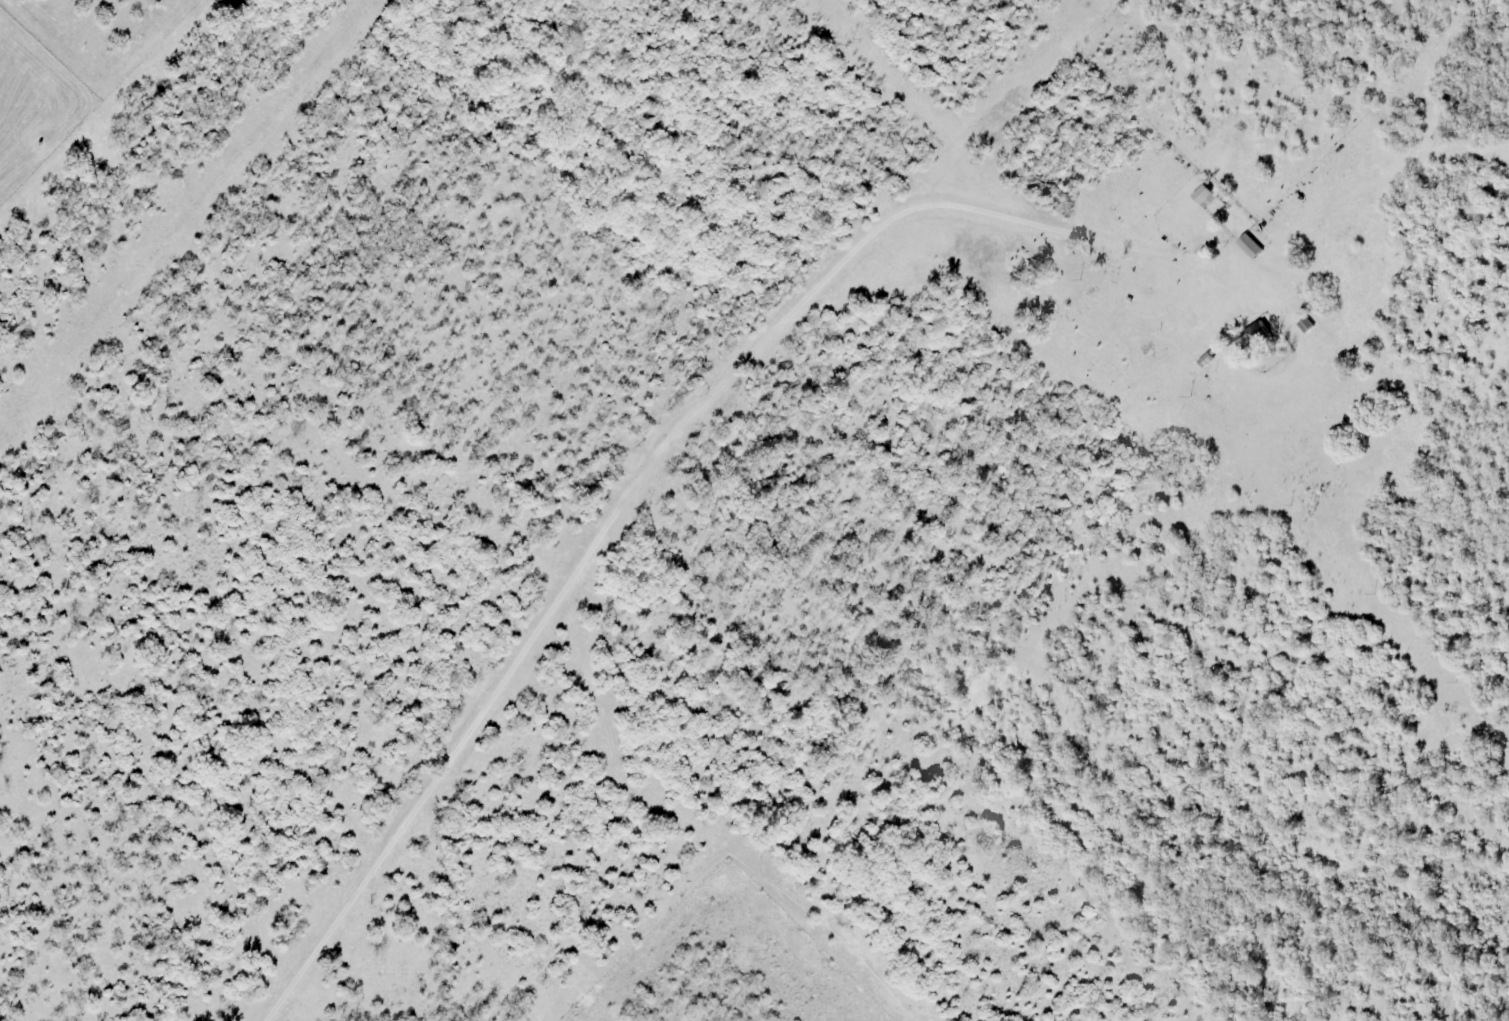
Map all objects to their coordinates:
building: (1204, 197)
building: (1250, 245)
building: (1251, 336)
road: (650, 481)

